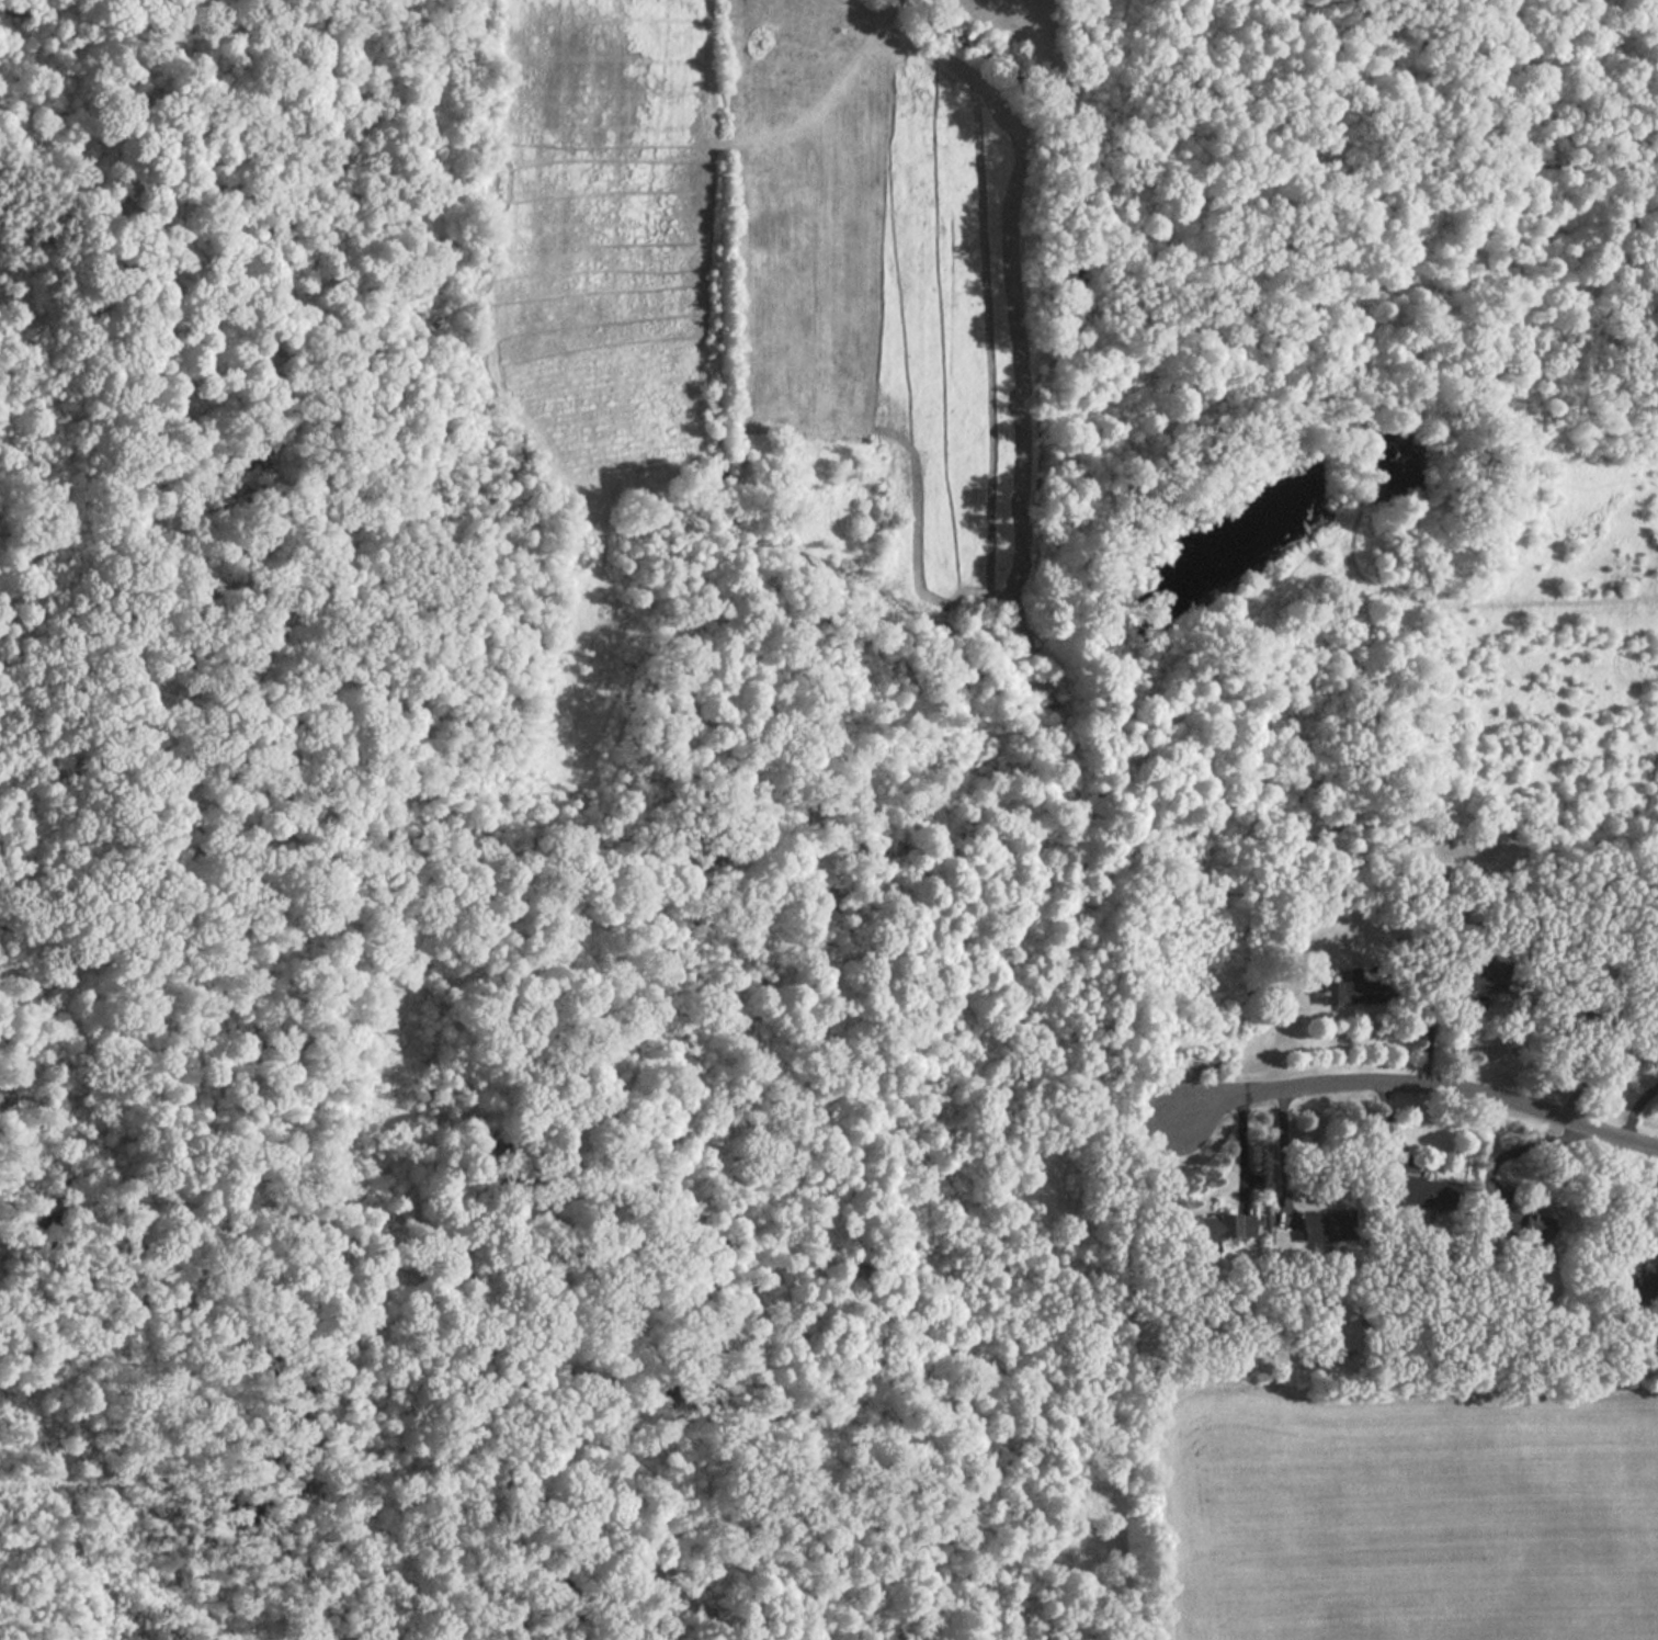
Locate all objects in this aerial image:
building: (1348, 992)
road: (1429, 1017)
building: (1654, 1033)
road: (1462, 1044)
road: (1420, 1084)
road: (1636, 1109)
road: (1392, 1129)
road: (1520, 1150)
road: (1240, 1153)
road: (1283, 1155)
building: (1522, 1222)
building: (1320, 1224)
building: (1225, 1225)
building: (1639, 1279)

